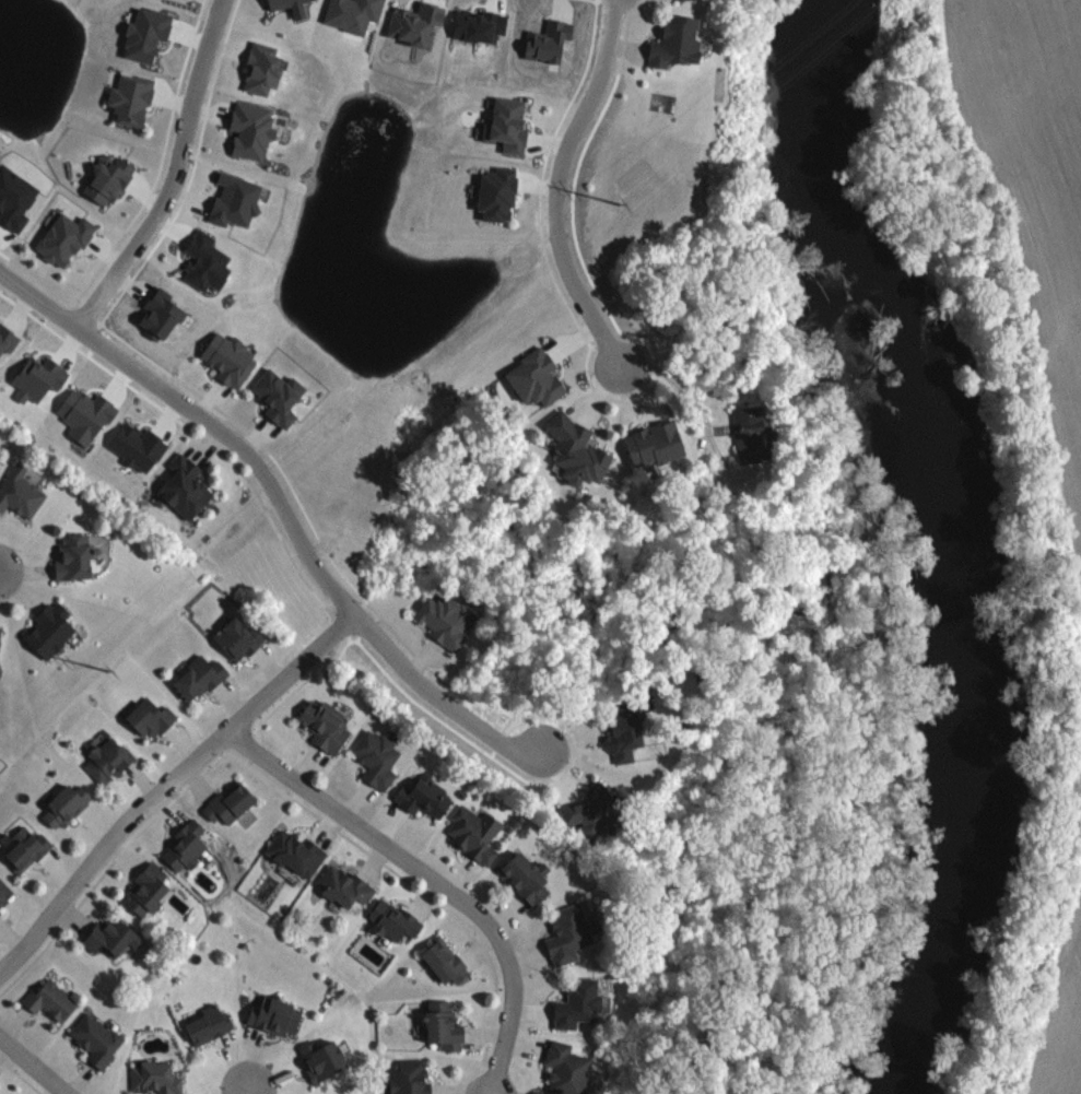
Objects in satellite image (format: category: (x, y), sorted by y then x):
building: (301, 8)
building: (355, 13)
building: (420, 23)
building: (150, 34)
building: (671, 42)
road: (625, 46)
building: (266, 68)
building: (134, 98)
building: (510, 125)
building: (255, 130)
road: (178, 177)
crop: (1030, 178)
building: (110, 179)
road: (556, 185)
building: (500, 192)
building: (16, 197)
building: (238, 200)
power tower: (618, 202)
building: (67, 238)
building: (209, 261)
road: (571, 341)
building: (232, 358)
building: (533, 377)
building: (40, 378)
road: (639, 390)
road: (597, 393)
building: (281, 396)
road: (698, 410)
building: (89, 413)
building: (747, 434)
building: (651, 443)
building: (140, 446)
building: (574, 450)
building: (187, 487)
building: (22, 492)
road: (277, 504)
river: (964, 544)
building: (78, 556)
building: (448, 620)
building: (52, 630)
building: (240, 638)
building: (0, 644)
power tower: (106, 670)
building: (201, 678)
building: (154, 717)
building: (327, 726)
building: (620, 731)
road: (568, 749)
building: (380, 757)
building: (110, 758)
road: (555, 774)
road: (169, 784)
building: (427, 796)
building: (233, 802)
building: (69, 805)
building: (588, 809)
building: (477, 833)
building: (188, 846)
building: (28, 848)
building: (299, 852)
building: (529, 878)
road: (428, 880)
building: (346, 885)
building: (150, 889)
building: (5, 892)
building: (397, 920)
building: (573, 933)
building: (111, 937)
building: (448, 962)
building: (54, 1000)
building: (580, 1003)
crop: (1059, 1005)
building: (278, 1015)
building: (212, 1024)
building: (446, 1025)
building: (99, 1038)
building: (325, 1059)
road: (34, 1064)
building: (568, 1069)
building: (158, 1078)
building: (413, 1078)

